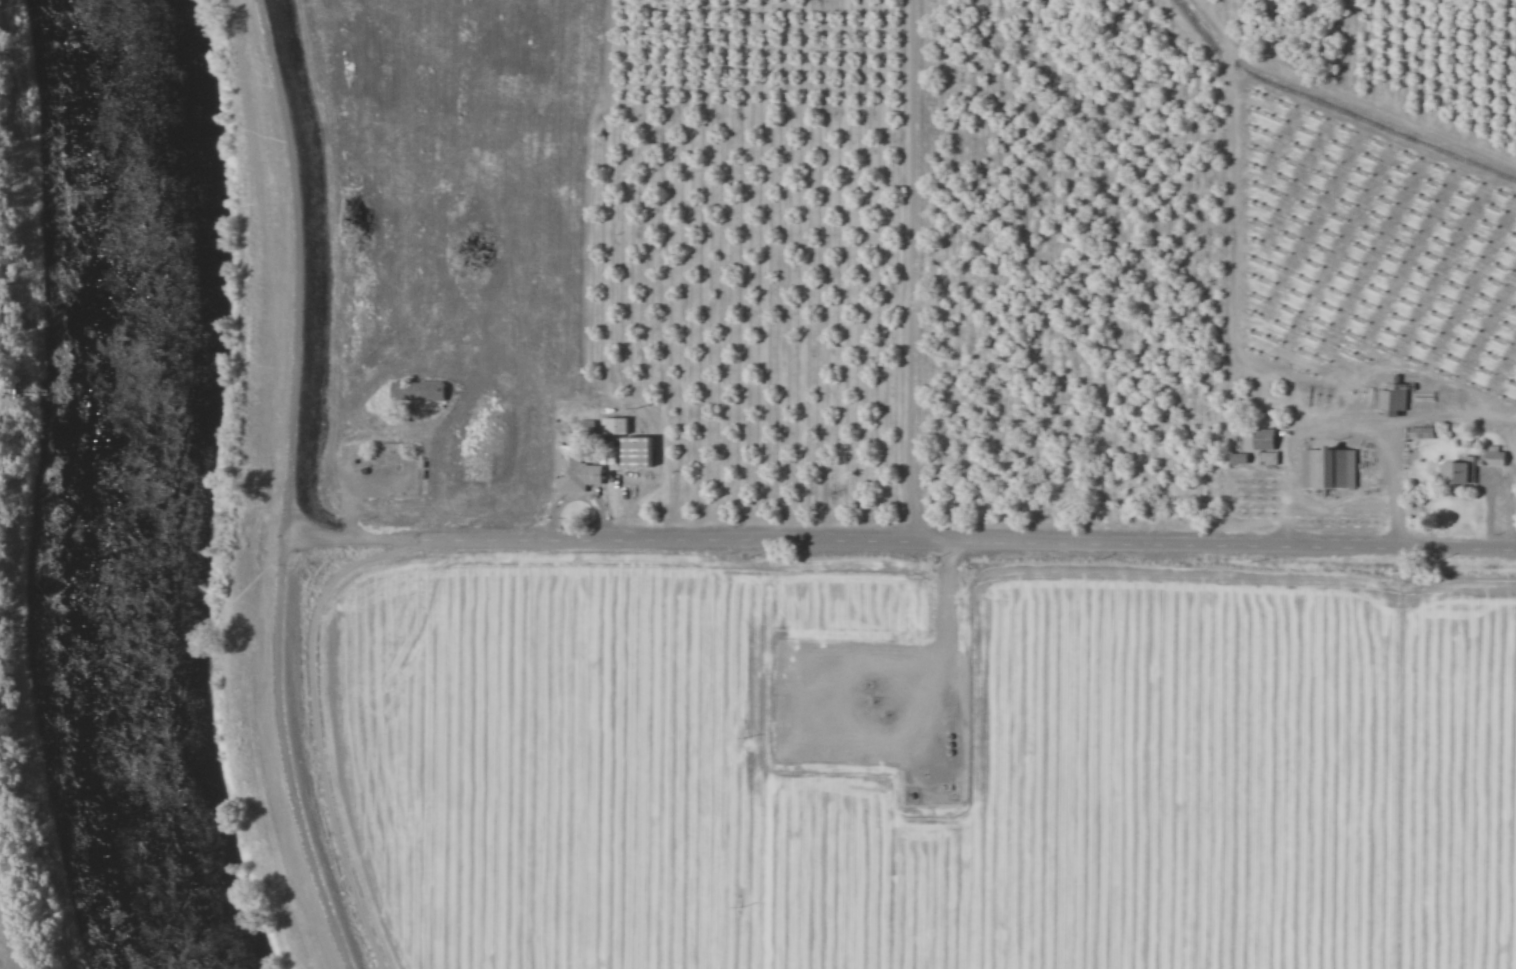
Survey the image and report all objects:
road: (287, 267)
building: (414, 391)
building: (1394, 399)
building: (616, 425)
building: (1265, 444)
building: (639, 451)
building: (1330, 467)
building: (578, 468)
building: (1461, 471)
river: (123, 489)
road: (904, 543)
road: (293, 756)

